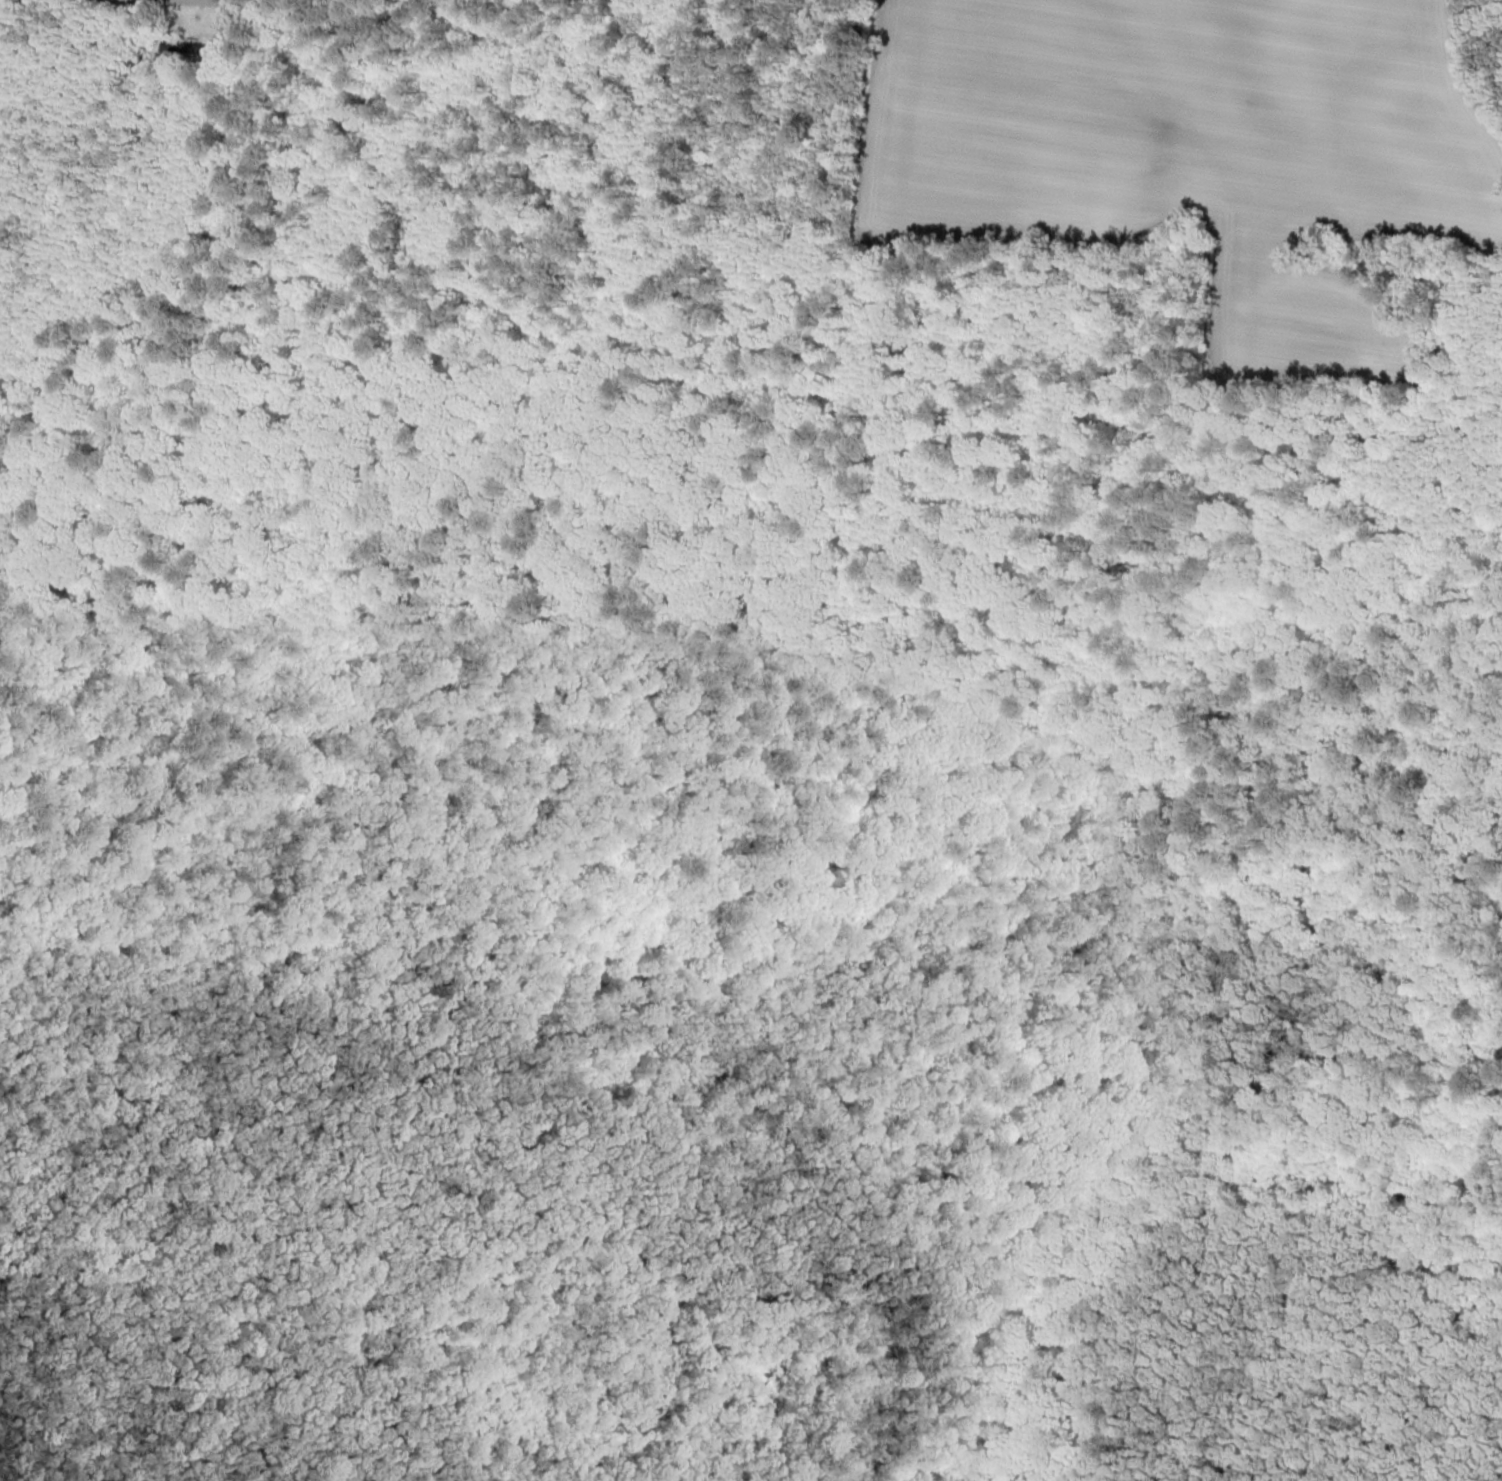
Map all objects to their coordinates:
park: (806, 734)
park: (624, 1173)

